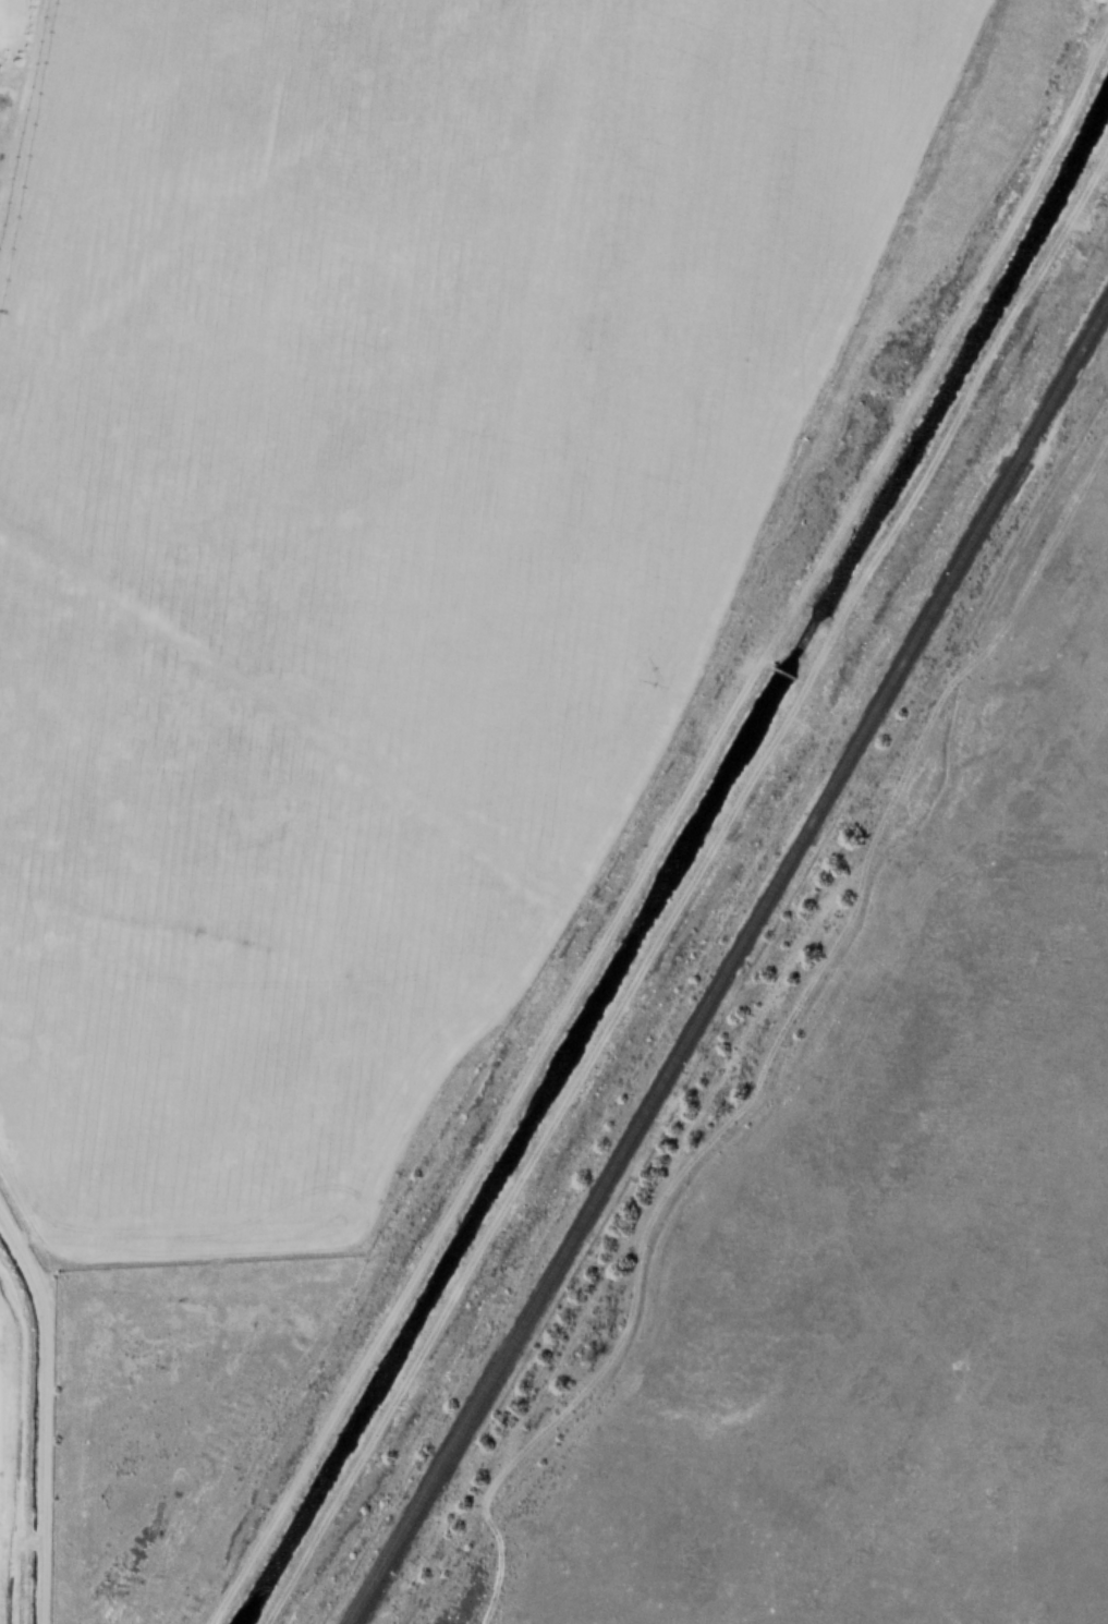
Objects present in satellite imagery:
road: (1097, 163)
railway: (731, 960)
road: (711, 1138)

